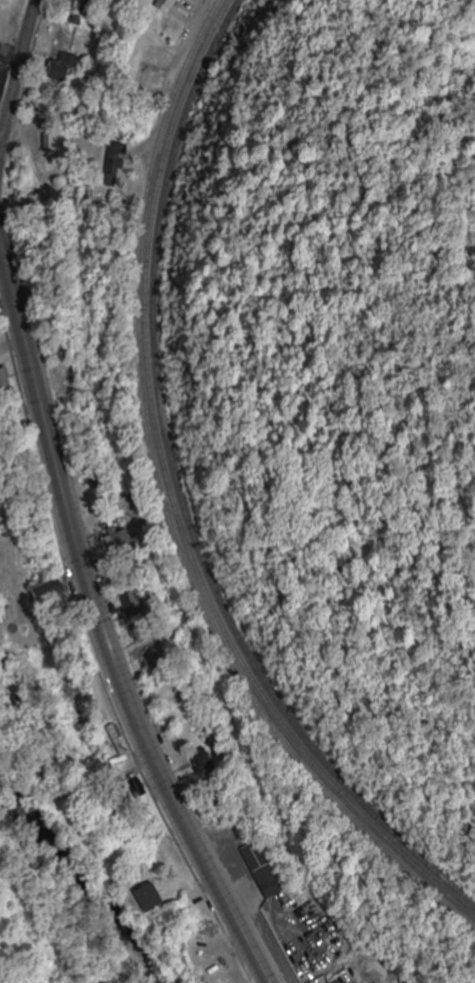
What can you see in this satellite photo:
road: (18, 80)
road: (1, 243)
building: (0, 310)
railway: (171, 505)
road: (100, 628)

